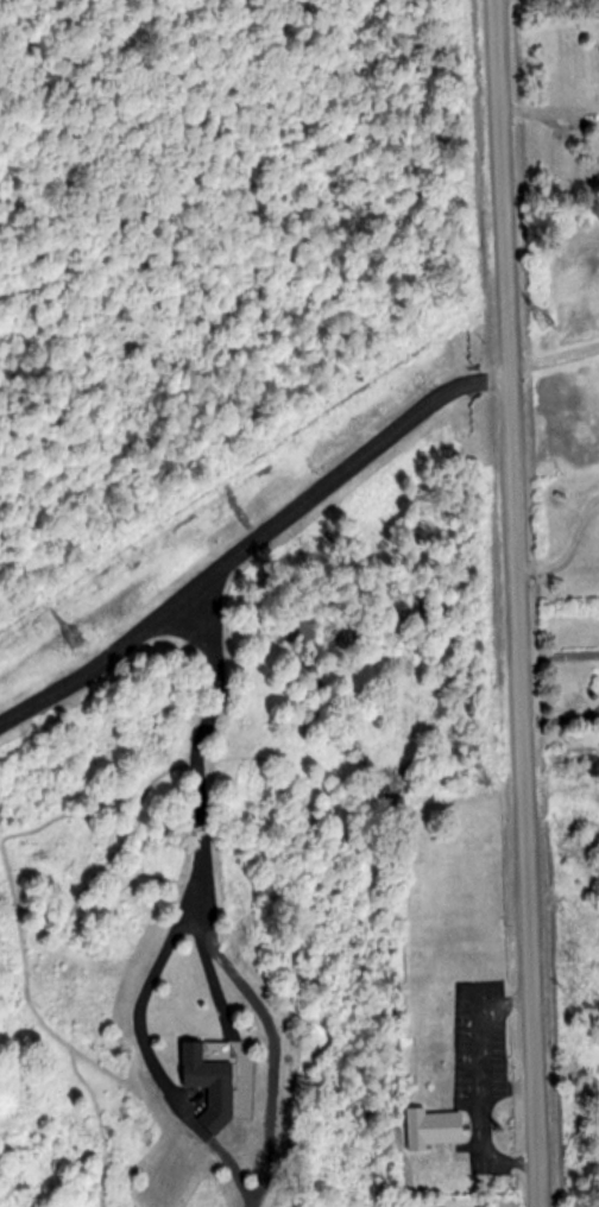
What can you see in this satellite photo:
road: (547, 110)
power tower: (551, 321)
road: (553, 364)
road: (349, 467)
road: (569, 551)
road: (513, 602)
power tower: (77, 639)
road: (557, 655)
road: (105, 658)
road: (200, 804)
building: (213, 1079)
building: (433, 1126)

